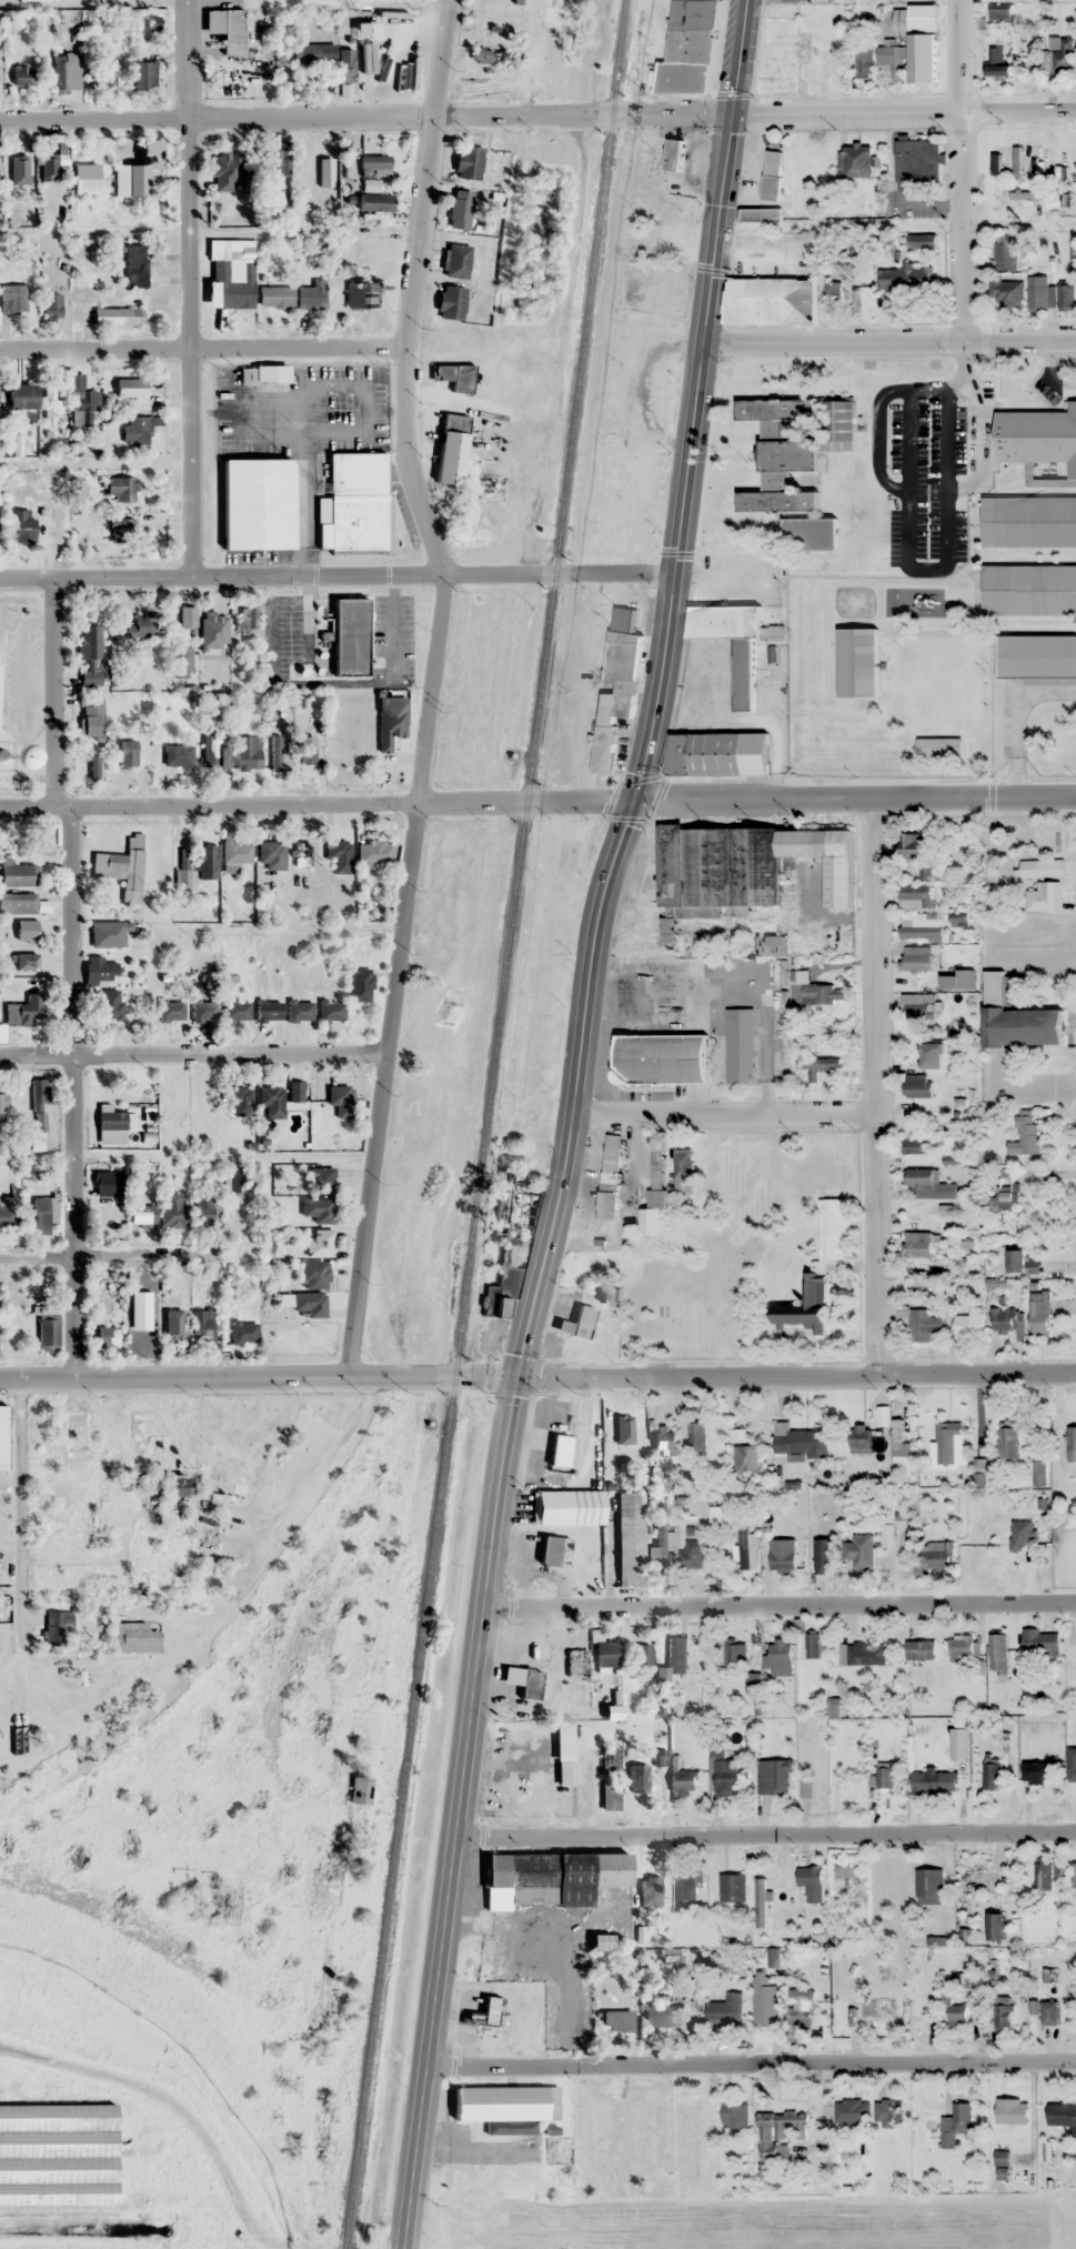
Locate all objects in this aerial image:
building: (520, 1)
building: (1004, 14)
building: (1033, 17)
building: (899, 24)
building: (227, 28)
building: (923, 42)
building: (777, 48)
building: (690, 49)
building: (313, 53)
building: (481, 54)
building: (1062, 56)
building: (893, 60)
building: (832, 61)
building: (864, 61)
building: (344, 62)
building: (998, 62)
building: (60, 71)
building: (107, 72)
building: (142, 73)
building: (23, 74)
building: (284, 76)
road: (904, 112)
road: (366, 116)
traffic signals: (733, 117)
building: (673, 153)
building: (282, 159)
building: (855, 159)
building: (918, 161)
building: (467, 162)
building: (374, 163)
building: (19, 168)
building: (50, 168)
building: (135, 168)
road: (961, 170)
building: (227, 171)
building: (768, 178)
building: (995, 199)
building: (374, 201)
building: (460, 208)
building: (761, 213)
building: (651, 229)
building: (922, 241)
building: (1006, 252)
building: (456, 260)
building: (135, 265)
building: (902, 278)
building: (232, 285)
road: (190, 287)
building: (1007, 291)
building: (833, 292)
building: (1049, 293)
building: (312, 294)
building: (362, 294)
building: (275, 295)
building: (653, 295)
building: (12, 298)
building: (771, 301)
building: (451, 302)
building: (51, 305)
building: (117, 315)
road: (888, 341)
road: (204, 350)
building: (263, 373)
building: (454, 375)
building: (129, 388)
building: (20, 395)
building: (82, 402)
building: (51, 406)
building: (137, 430)
building: (794, 448)
building: (451, 449)
building: (1034, 482)
building: (119, 486)
road: (917, 490)
building: (354, 504)
building: (255, 509)
building: (23, 525)
building: (119, 526)
building: (813, 532)
road: (926, 570)
road: (385, 574)
building: (1029, 591)
building: (243, 620)
building: (142, 625)
building: (350, 636)
building: (735, 642)
building: (623, 647)
building: (90, 655)
building: (1037, 656)
building: (182, 659)
building: (858, 663)
road: (431, 687)
road: (53, 692)
building: (92, 717)
building: (391, 726)
building: (610, 726)
building: (939, 747)
building: (214, 752)
building: (248, 752)
building: (306, 752)
building: (127, 753)
building: (280, 753)
building: (179, 754)
building: (717, 754)
water tower: (1, 756)
traffic signals: (634, 800)
road: (746, 801)
road: (209, 804)
building: (912, 847)
building: (374, 851)
building: (235, 852)
building: (302, 853)
building: (272, 854)
building: (339, 855)
building: (183, 857)
building: (207, 861)
building: (161, 864)
building: (122, 866)
building: (744, 869)
building: (18, 875)
building: (916, 896)
building: (1043, 896)
building: (18, 902)
building: (28, 930)
building: (922, 930)
building: (107, 933)
building: (771, 945)
building: (922, 958)
building: (727, 967)
building: (100, 970)
building: (360, 984)
building: (814, 992)
building: (918, 1006)
building: (110, 1010)
building: (204, 1010)
building: (268, 1010)
building: (171, 1011)
building: (237, 1011)
building: (299, 1011)
building: (331, 1011)
building: (23, 1012)
building: (1016, 1018)
building: (740, 1045)
road: (193, 1056)
building: (928, 1057)
building: (662, 1060)
building: (819, 1066)
building: (918, 1085)
road: (875, 1090)
building: (173, 1091)
building: (295, 1092)
road: (73, 1094)
building: (239, 1100)
building: (340, 1101)
building: (271, 1102)
building: (3, 1104)
building: (36, 1106)
road: (724, 1121)
building: (208, 1123)
road: (571, 1123)
railway: (486, 1124)
building: (110, 1125)
building: (1026, 1135)
building: (917, 1146)
building: (680, 1166)
building: (252, 1177)
building: (610, 1177)
building: (322, 1179)
building: (232, 1181)
building: (105, 1183)
building: (929, 1184)
building: (1003, 1197)
building: (318, 1209)
building: (8, 1211)
building: (204, 1211)
building: (173, 1212)
building: (142, 1214)
building: (40, 1215)
building: (653, 1215)
building: (834, 1229)
building: (510, 1242)
building: (320, 1243)
building: (917, 1244)
road: (115, 1261)
building: (1016, 1262)
building: (314, 1274)
building: (310, 1304)
building: (806, 1305)
building: (1039, 1312)
building: (1007, 1321)
building: (576, 1324)
building: (924, 1325)
building: (202, 1326)
building: (963, 1327)
building: (169, 1331)
building: (243, 1332)
building: (48, 1333)
building: (140, 1334)
building: (107, 1337)
road: (730, 1377)
traffic signals: (521, 1379)
road: (192, 1380)
building: (74, 1432)
building: (2, 1435)
building: (145, 1436)
building: (859, 1437)
building: (1070, 1437)
building: (697, 1438)
building: (800, 1439)
building: (903, 1440)
building: (1008, 1442)
building: (664, 1443)
building: (949, 1444)
building: (562, 1452)
building: (745, 1458)
building: (1039, 1473)
building: (662, 1480)
building: (175, 1487)
building: (153, 1505)
building: (567, 1507)
road: (22, 1516)
building: (720, 1523)
building: (628, 1539)
building: (662, 1544)
building: (747, 1549)
building: (549, 1550)
building: (859, 1550)
building: (693, 1555)
building: (823, 1556)
building: (782, 1560)
building: (929, 1562)
road: (781, 1605)
building: (59, 1628)
building: (135, 1637)
building: (807, 1643)
building: (1044, 1644)
building: (964, 1646)
building: (921, 1650)
building: (606, 1654)
building: (640, 1654)
building: (866, 1654)
building: (998, 1654)
building: (677, 1655)
building: (735, 1655)
building: (780, 1657)
building: (1072, 1659)
building: (576, 1663)
building: (523, 1681)
building: (9, 1735)
building: (724, 1770)
building: (1037, 1771)
building: (990, 1775)
building: (774, 1776)
building: (610, 1778)
building: (637, 1778)
building: (884, 1778)
building: (684, 1781)
building: (934, 1783)
building: (806, 1787)
road: (590, 1788)
building: (360, 1789)
building: (537, 1790)
road: (765, 1836)
building: (849, 1875)
building: (1074, 1875)
building: (764, 1876)
building: (1045, 1876)
building: (551, 1877)
building: (812, 1882)
building: (885, 1882)
building: (685, 1886)
building: (929, 1887)
building: (733, 1888)
building: (650, 1890)
building: (996, 1927)
building: (773, 1957)
building: (765, 1998)
building: (801, 2007)
building: (863, 2008)
building: (725, 2011)
building: (955, 2011)
building: (1050, 2012)
building: (664, 2015)
building: (1004, 2017)
building: (617, 2021)
railway: (208, 2037)
road: (750, 2064)
building: (505, 2102)
building: (1012, 2110)
building: (853, 2111)
building: (888, 2114)
building: (1062, 2115)
building: (735, 2116)
road: (190, 2124)
building: (956, 2125)
building: (778, 2130)
building: (57, 2153)
building: (632, 2245)

